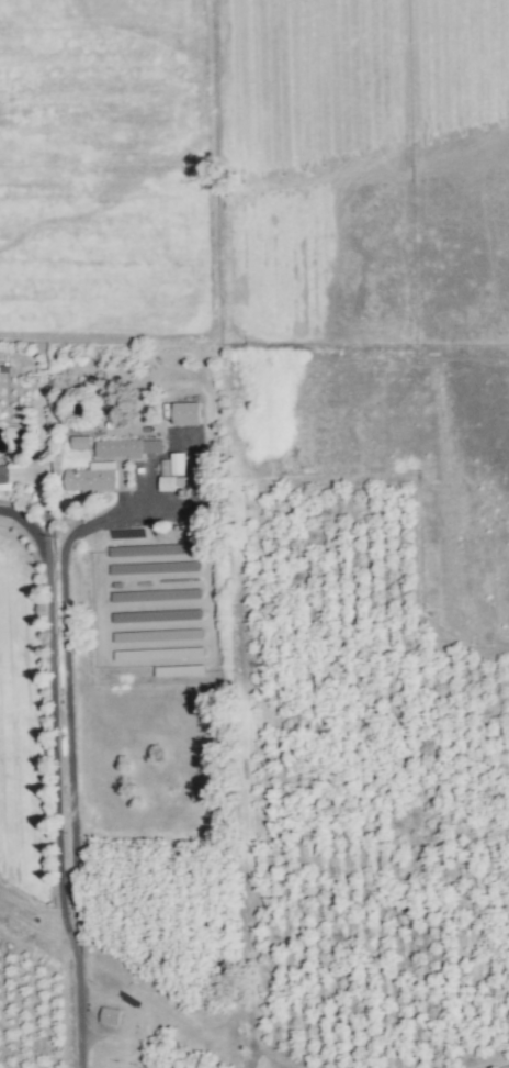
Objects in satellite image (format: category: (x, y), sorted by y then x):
crop: (203, 134)
building: (186, 413)
building: (126, 447)
building: (3, 477)
building: (92, 478)
road: (66, 701)
road: (53, 728)
crop: (281, 834)
building: (110, 1015)
road: (80, 1019)

